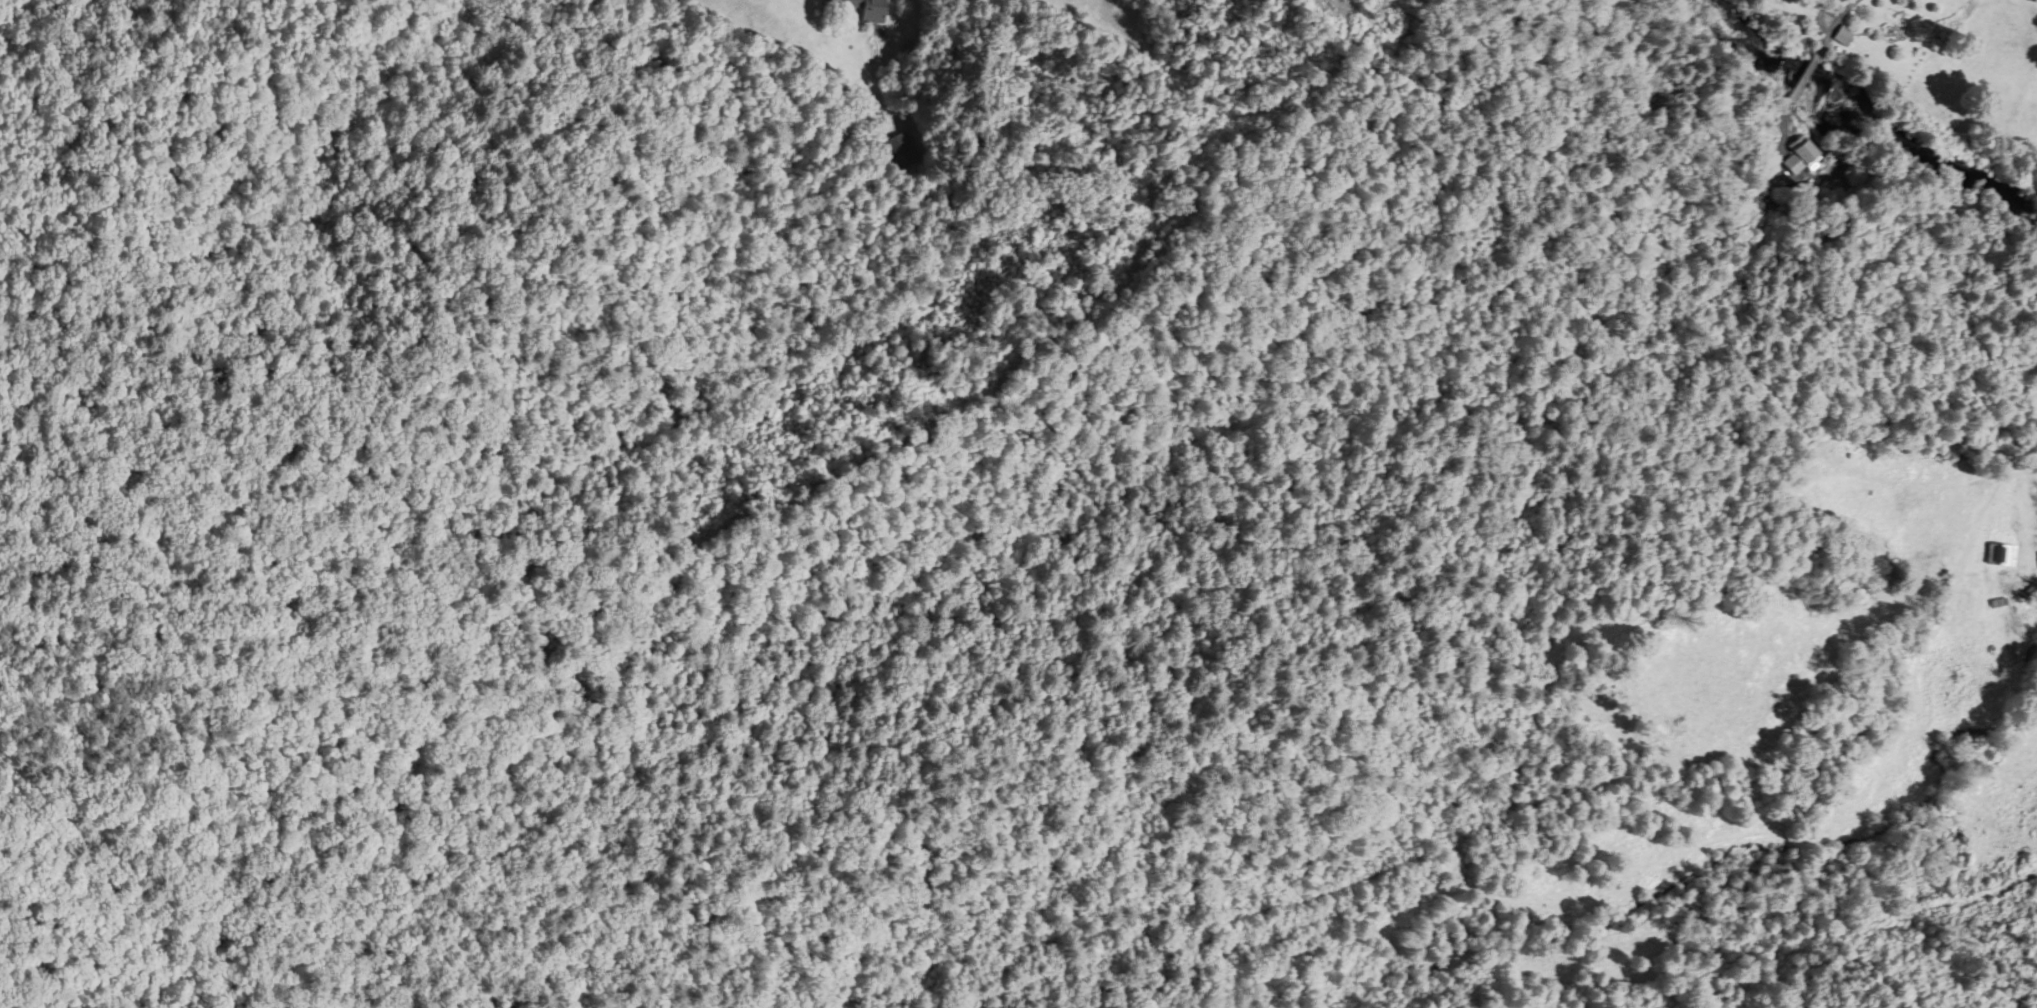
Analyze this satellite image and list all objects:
building: (2031, 2)
building: (863, 10)
road: (1833, 25)
road: (899, 75)
road: (1800, 84)
road: (1780, 136)
building: (898, 150)
building: (1793, 152)
road: (1951, 523)
building: (1996, 556)

